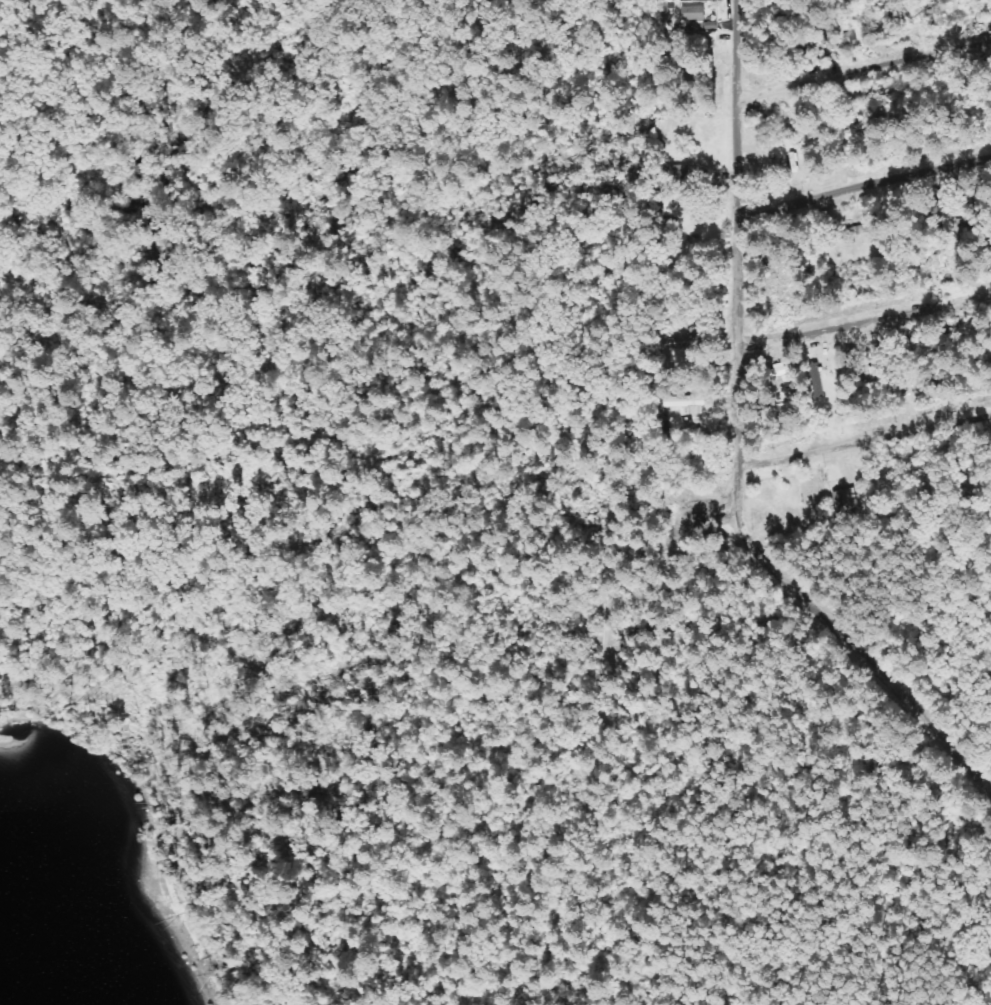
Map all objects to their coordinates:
building: (695, 17)
road: (862, 69)
road: (867, 186)
road: (742, 233)
road: (866, 318)
road: (301, 402)
building: (686, 402)
road: (865, 440)
road: (580, 560)
road: (838, 640)

